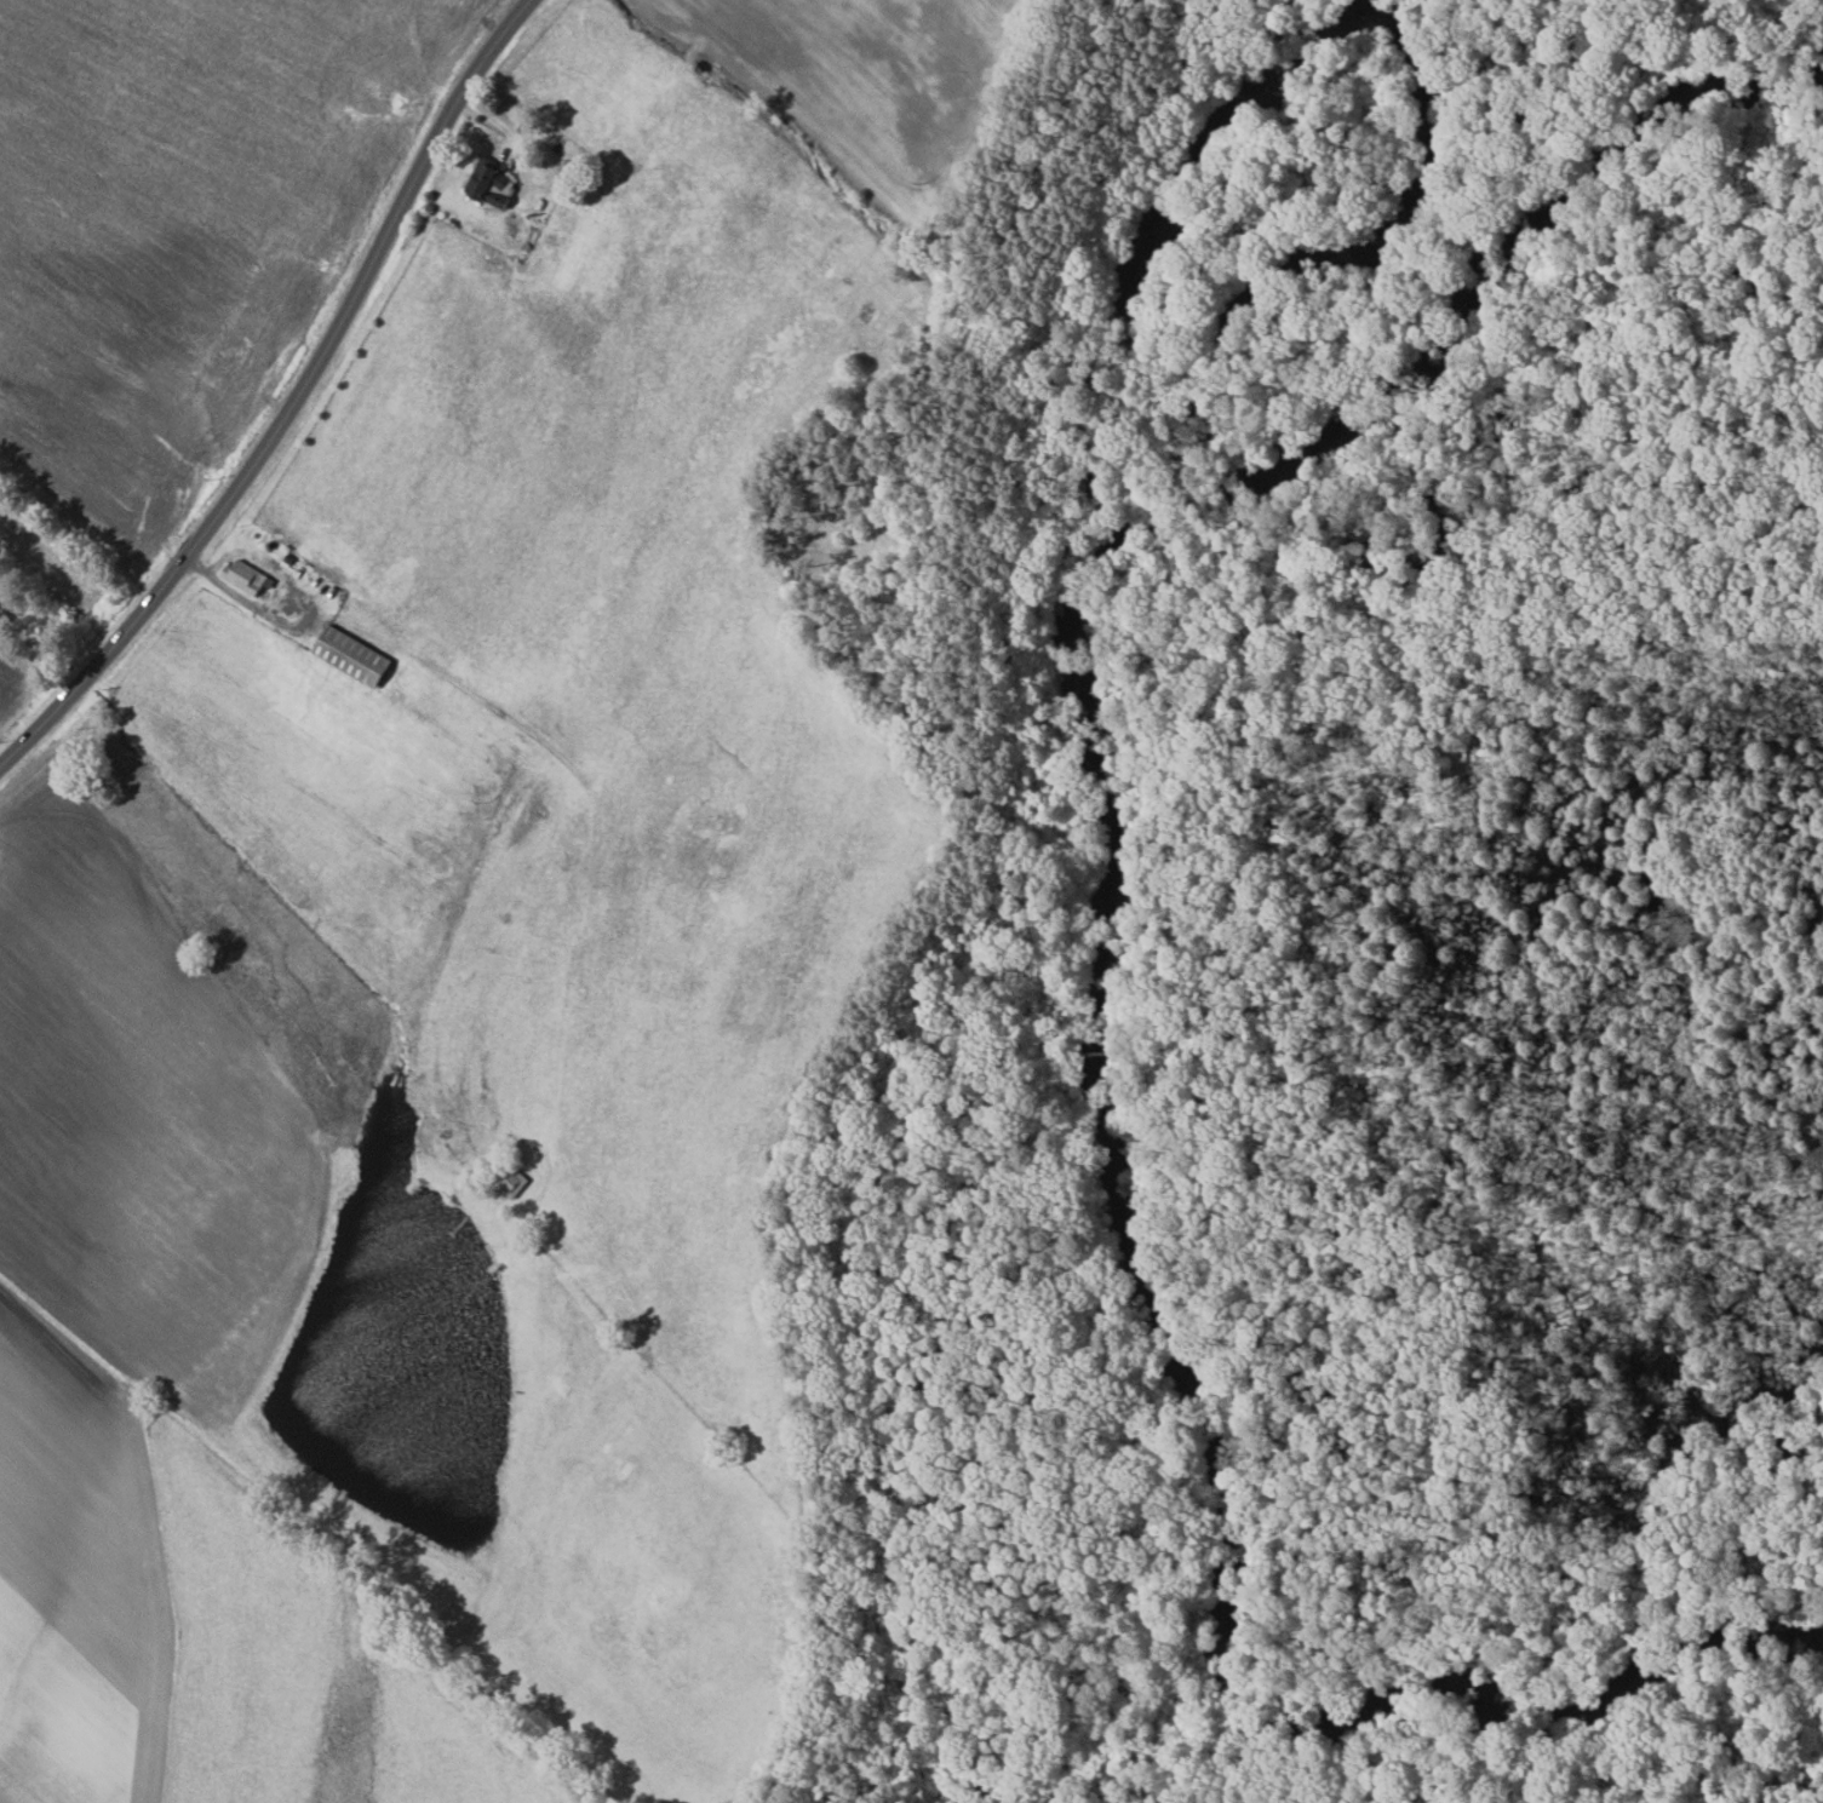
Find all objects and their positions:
building: (499, 188)
road: (296, 403)
building: (247, 578)
building: (356, 658)
road: (551, 747)

